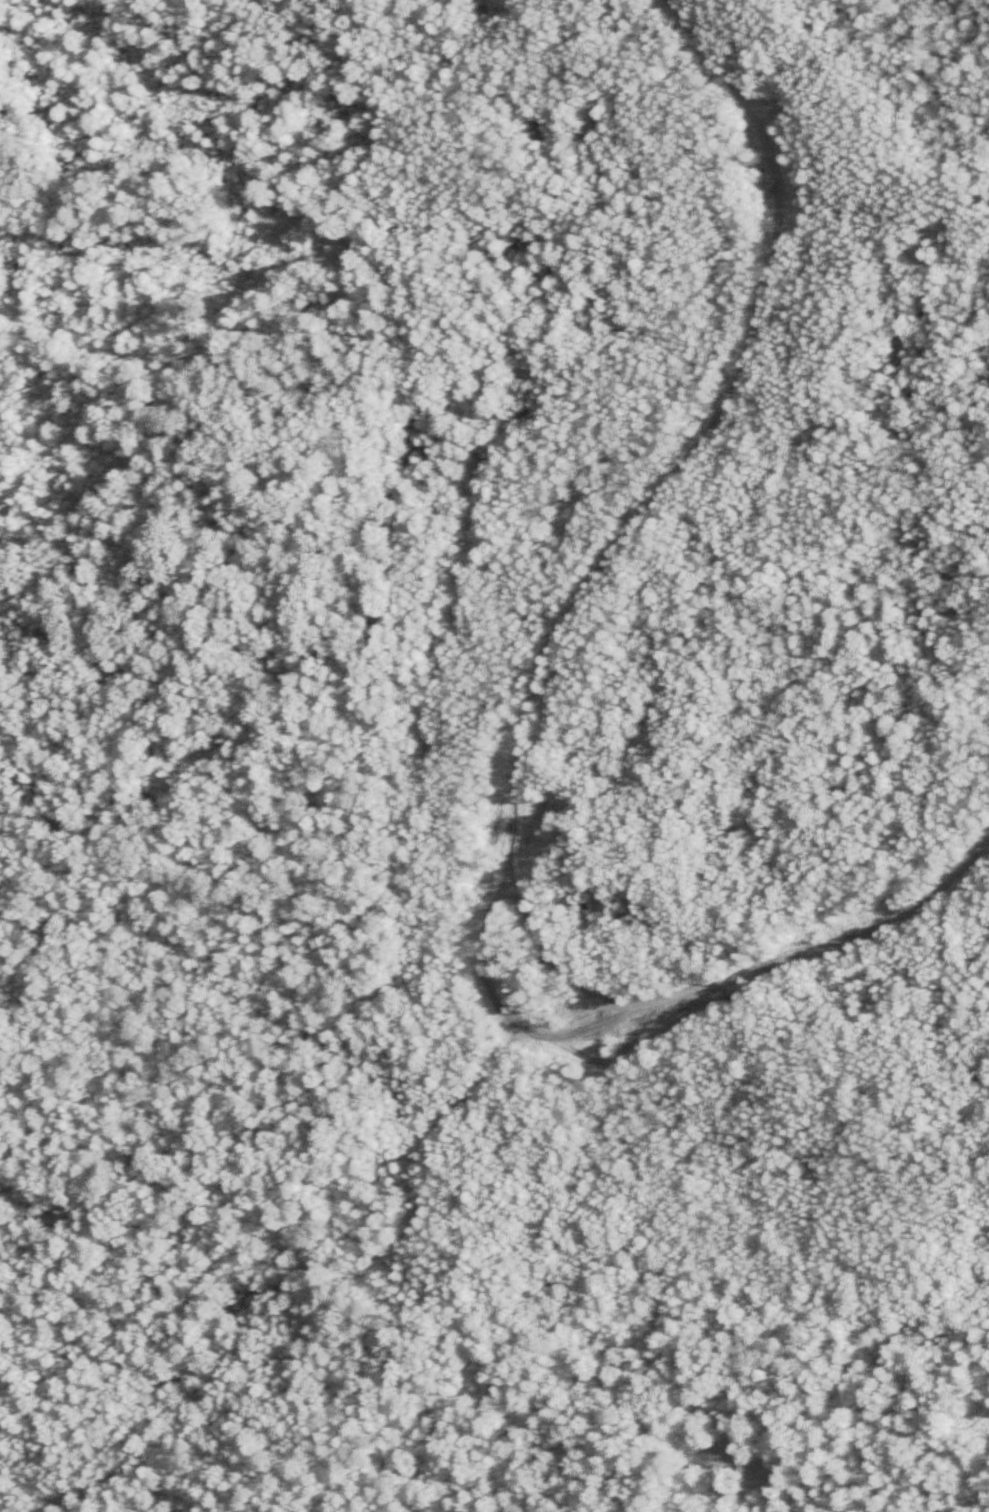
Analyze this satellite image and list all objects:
road: (544, 684)

